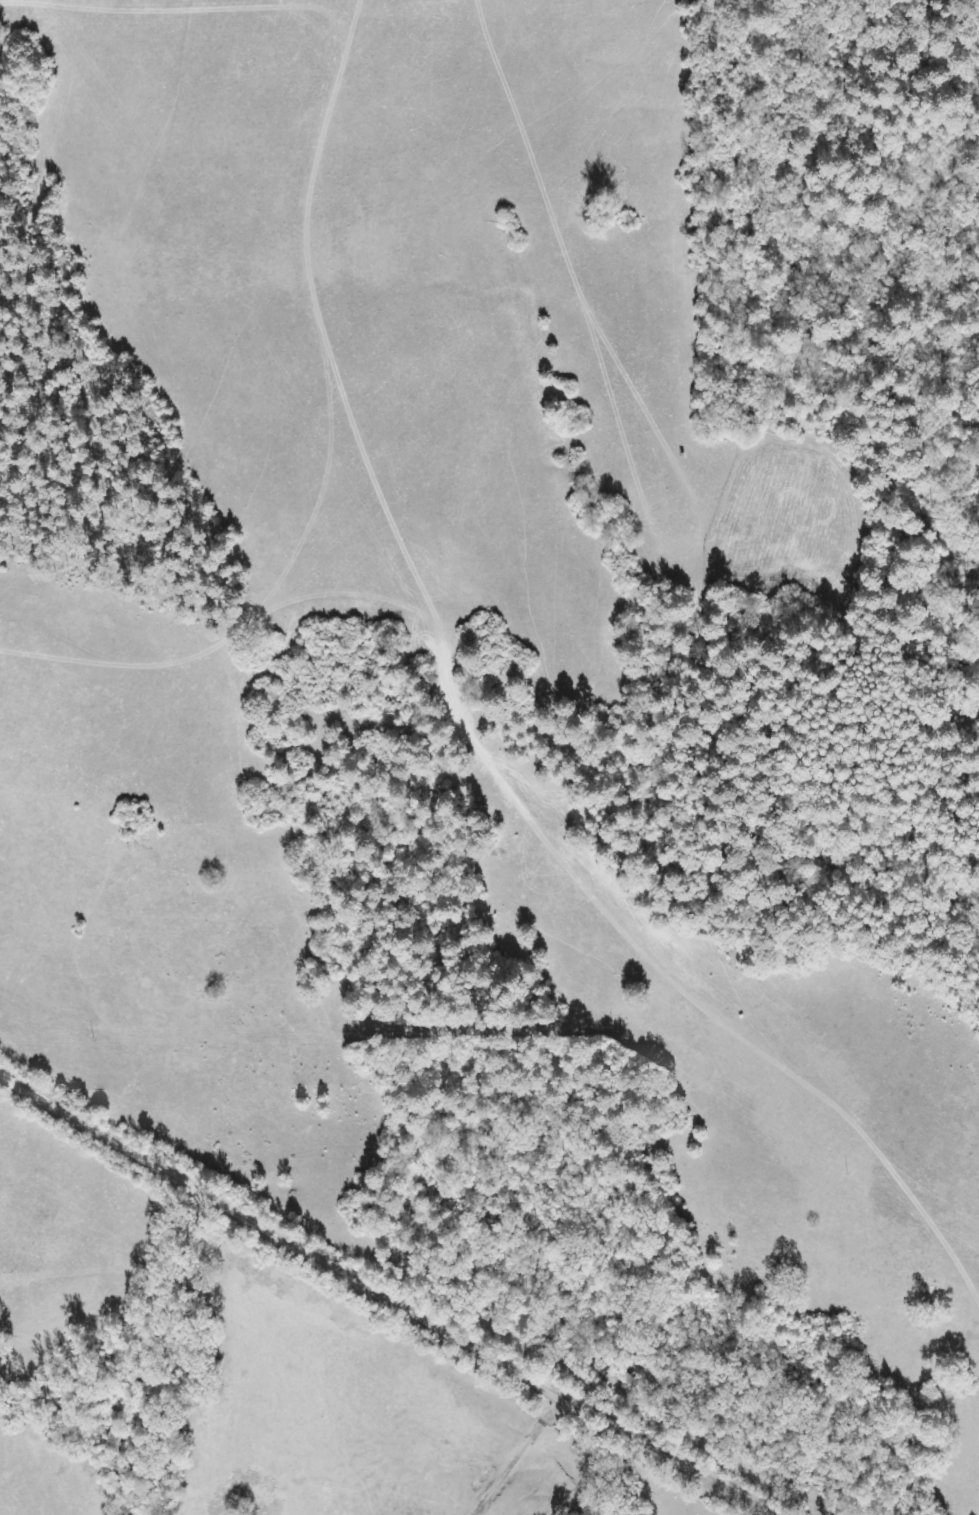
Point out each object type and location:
road: (364, 1308)
road: (501, 1470)

